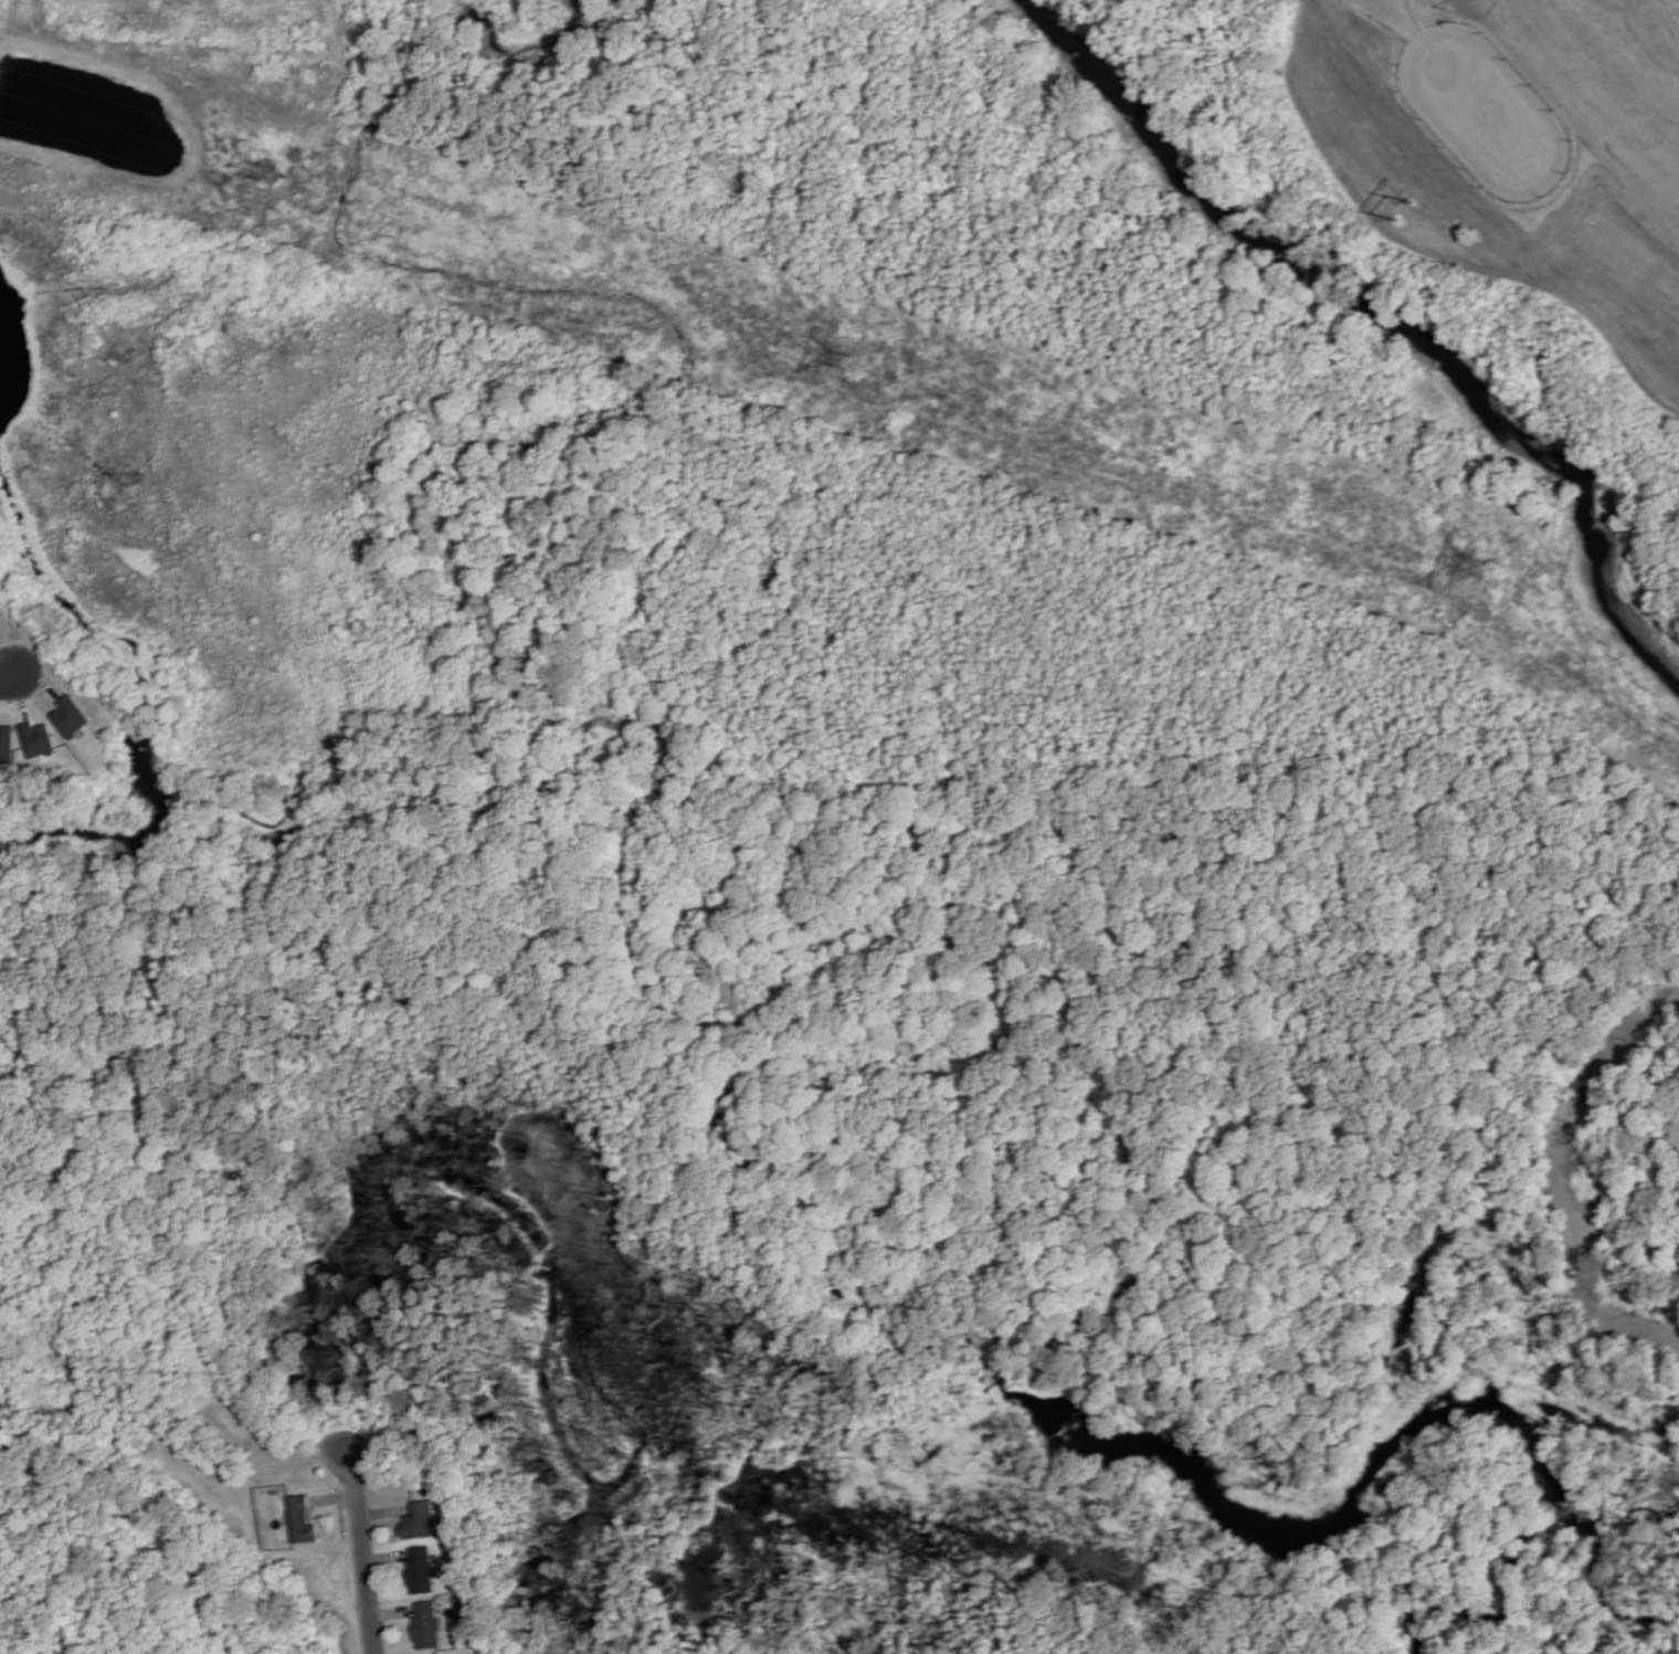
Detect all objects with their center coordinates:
power tower: (267, 175)
power tower: (1403, 210)
power tower: (844, 360)
power tower: (1486, 567)
road: (3, 687)
building: (70, 715)
building: (36, 738)
building: (6, 742)
building: (299, 1518)
building: (418, 1519)
road: (363, 1556)
building: (420, 1568)
building: (426, 1623)
building: (436, 1653)

